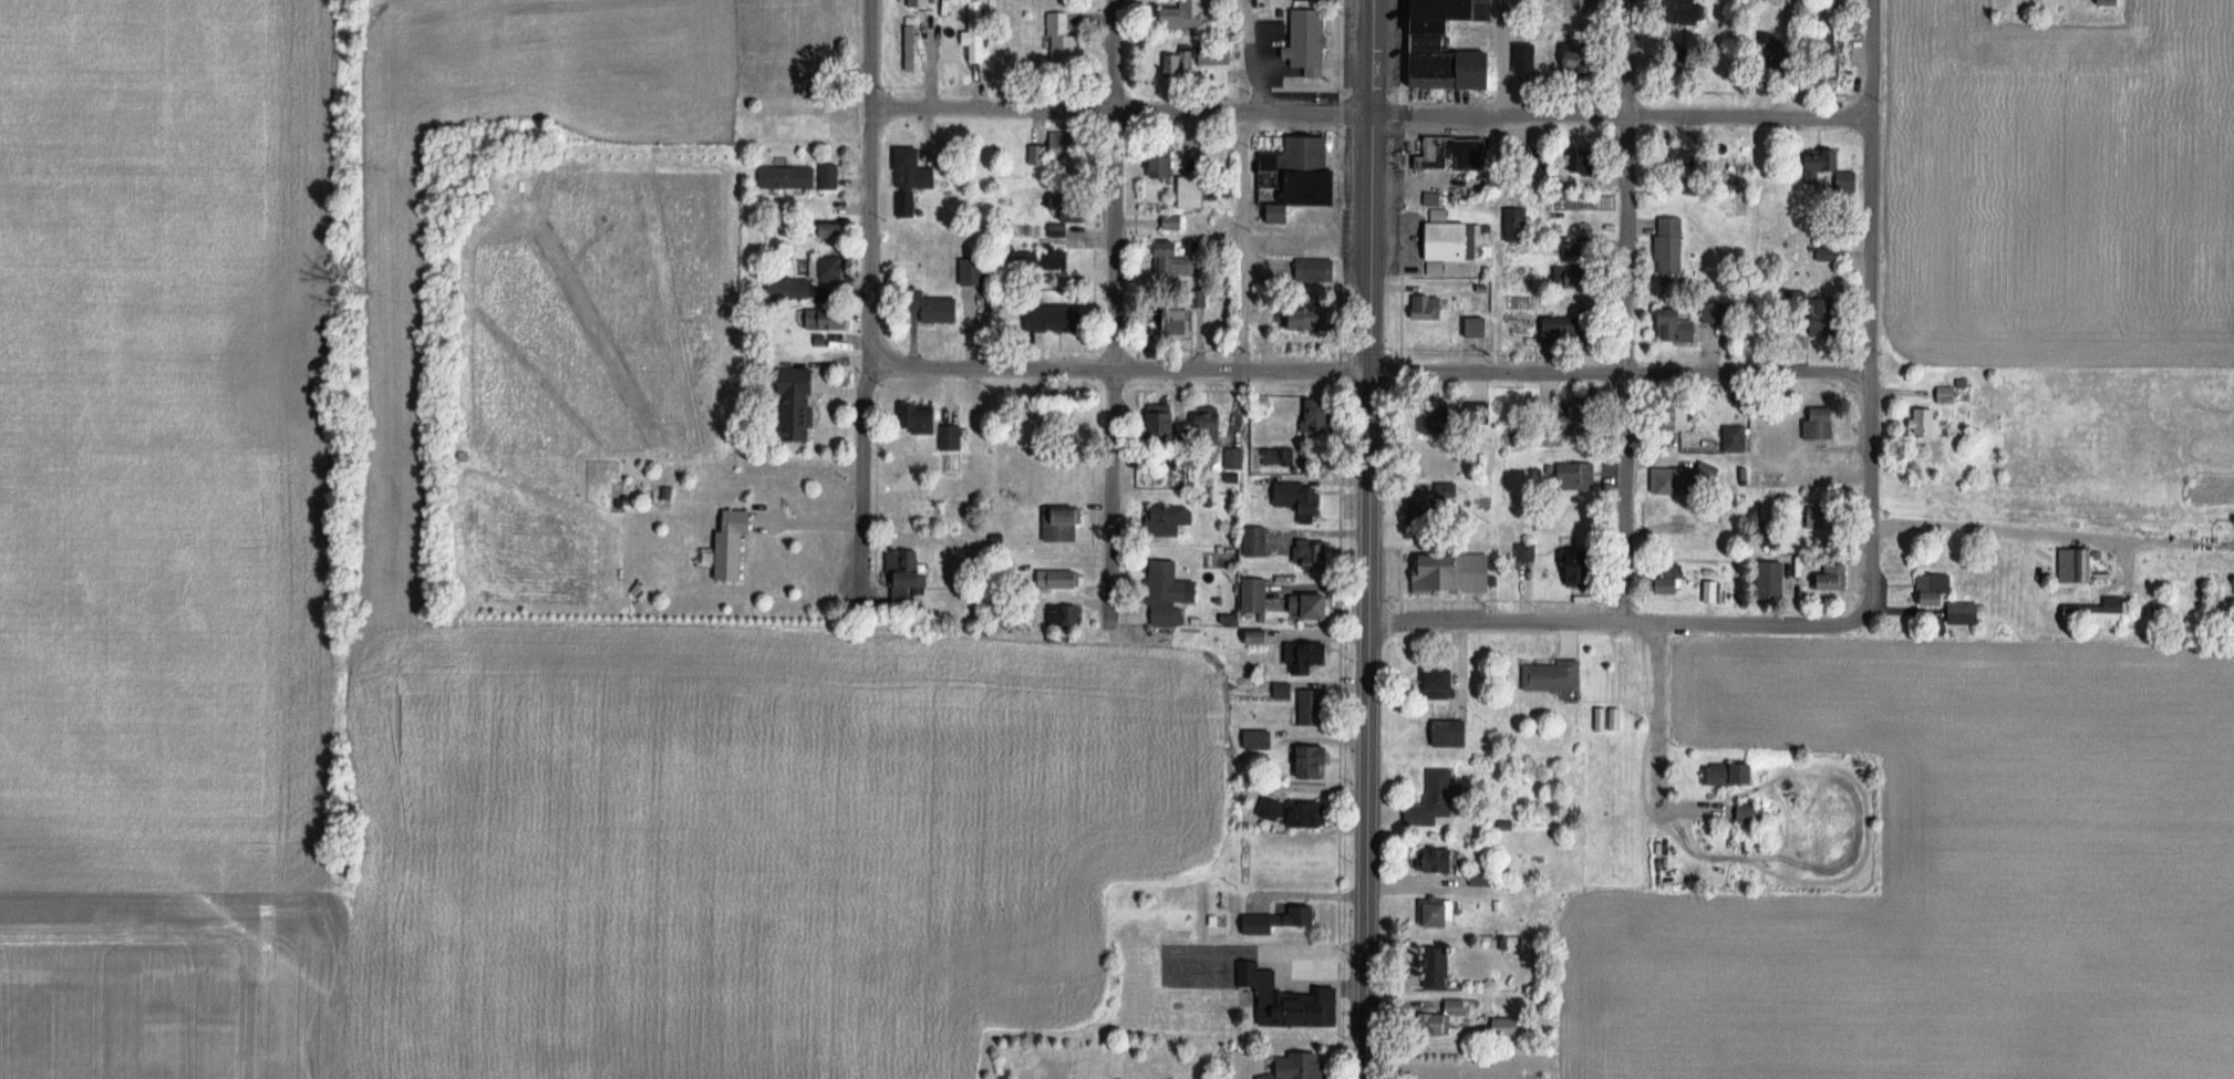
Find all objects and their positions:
building: (1322, 0)
building: (2098, 1)
building: (920, 2)
building: (1450, 9)
building: (1693, 11)
building: (1186, 15)
building: (1435, 25)
building: (1062, 37)
building: (1310, 40)
building: (1429, 42)
building: (911, 48)
building: (962, 53)
road: (869, 56)
road: (1113, 56)
road: (1369, 58)
road: (1501, 59)
building: (1527, 59)
building: (1584, 59)
road: (1625, 59)
building: (1198, 60)
building: (1789, 60)
road: (1871, 61)
building: (1451, 69)
building: (832, 106)
road: (1119, 114)
road: (1620, 117)
building: (1066, 144)
building: (1456, 153)
building: (1038, 154)
building: (1305, 154)
building: (1690, 157)
building: (1167, 159)
building: (1590, 162)
building: (801, 177)
building: (911, 178)
road: (1240, 186)
building: (1320, 187)
building: (1194, 193)
building: (1072, 208)
building: (1281, 211)
building: (1175, 221)
building: (836, 230)
building: (1063, 230)
building: (1451, 242)
building: (1672, 246)
building: (1518, 251)
building: (1831, 253)
building: (1045, 258)
building: (1177, 259)
building: (829, 268)
building: (1316, 269)
building: (974, 272)
building: (1568, 272)
building: (790, 289)
building: (1427, 308)
building: (938, 309)
building: (1821, 313)
building: (1054, 319)
building: (838, 320)
building: (1183, 320)
building: (1310, 320)
building: (1680, 324)
building: (1476, 326)
building: (1553, 328)
road: (865, 366)
road: (1109, 370)
road: (1118, 370)
road: (1623, 370)
road: (1869, 372)
road: (1620, 374)
building: (1949, 394)
building: (797, 406)
building: (1321, 412)
building: (1478, 412)
building: (1581, 415)
building: (1685, 416)
building: (1057, 419)
building: (1166, 422)
building: (1212, 422)
building: (1928, 422)
building: (1435, 423)
building: (931, 424)
building: (1823, 425)
building: (1737, 439)
building: (1313, 454)
building: (1235, 459)
building: (1578, 474)
building: (1685, 478)
building: (1450, 490)
building: (1291, 495)
building: (1424, 512)
road: (801, 515)
building: (1170, 520)
road: (1989, 520)
building: (1062, 525)
building: (717, 538)
building: (1256, 541)
building: (735, 544)
building: (1525, 551)
building: (1316, 553)
building: (1582, 560)
building: (2068, 566)
building: (909, 569)
building: (1454, 574)
building: (1833, 578)
building: (1059, 579)
building: (1776, 581)
building: (1672, 583)
building: (1937, 584)
building: (1169, 592)
building: (1256, 594)
road: (1369, 596)
building: (1312, 608)
building: (1966, 613)
building: (1066, 614)
building: (2087, 615)
building: (1229, 616)
road: (1617, 621)
building: (1261, 635)
building: (1306, 655)
building: (1620, 668)
building: (1555, 676)
building: (1442, 683)
building: (1285, 689)
building: (1312, 707)
road: (1655, 724)
building: (1454, 733)
building: (1260, 739)
building: (1317, 761)
building: (1731, 774)
building: (1437, 800)
building: (1297, 812)
building: (1751, 817)
building: (1444, 860)
building: (1485, 876)
road: (1309, 891)
building: (1440, 913)
building: (1281, 919)
building: (1217, 920)
building: (1439, 968)
building: (1286, 999)
building: (1444, 1018)
building: (1509, 1026)
building: (1304, 1069)

